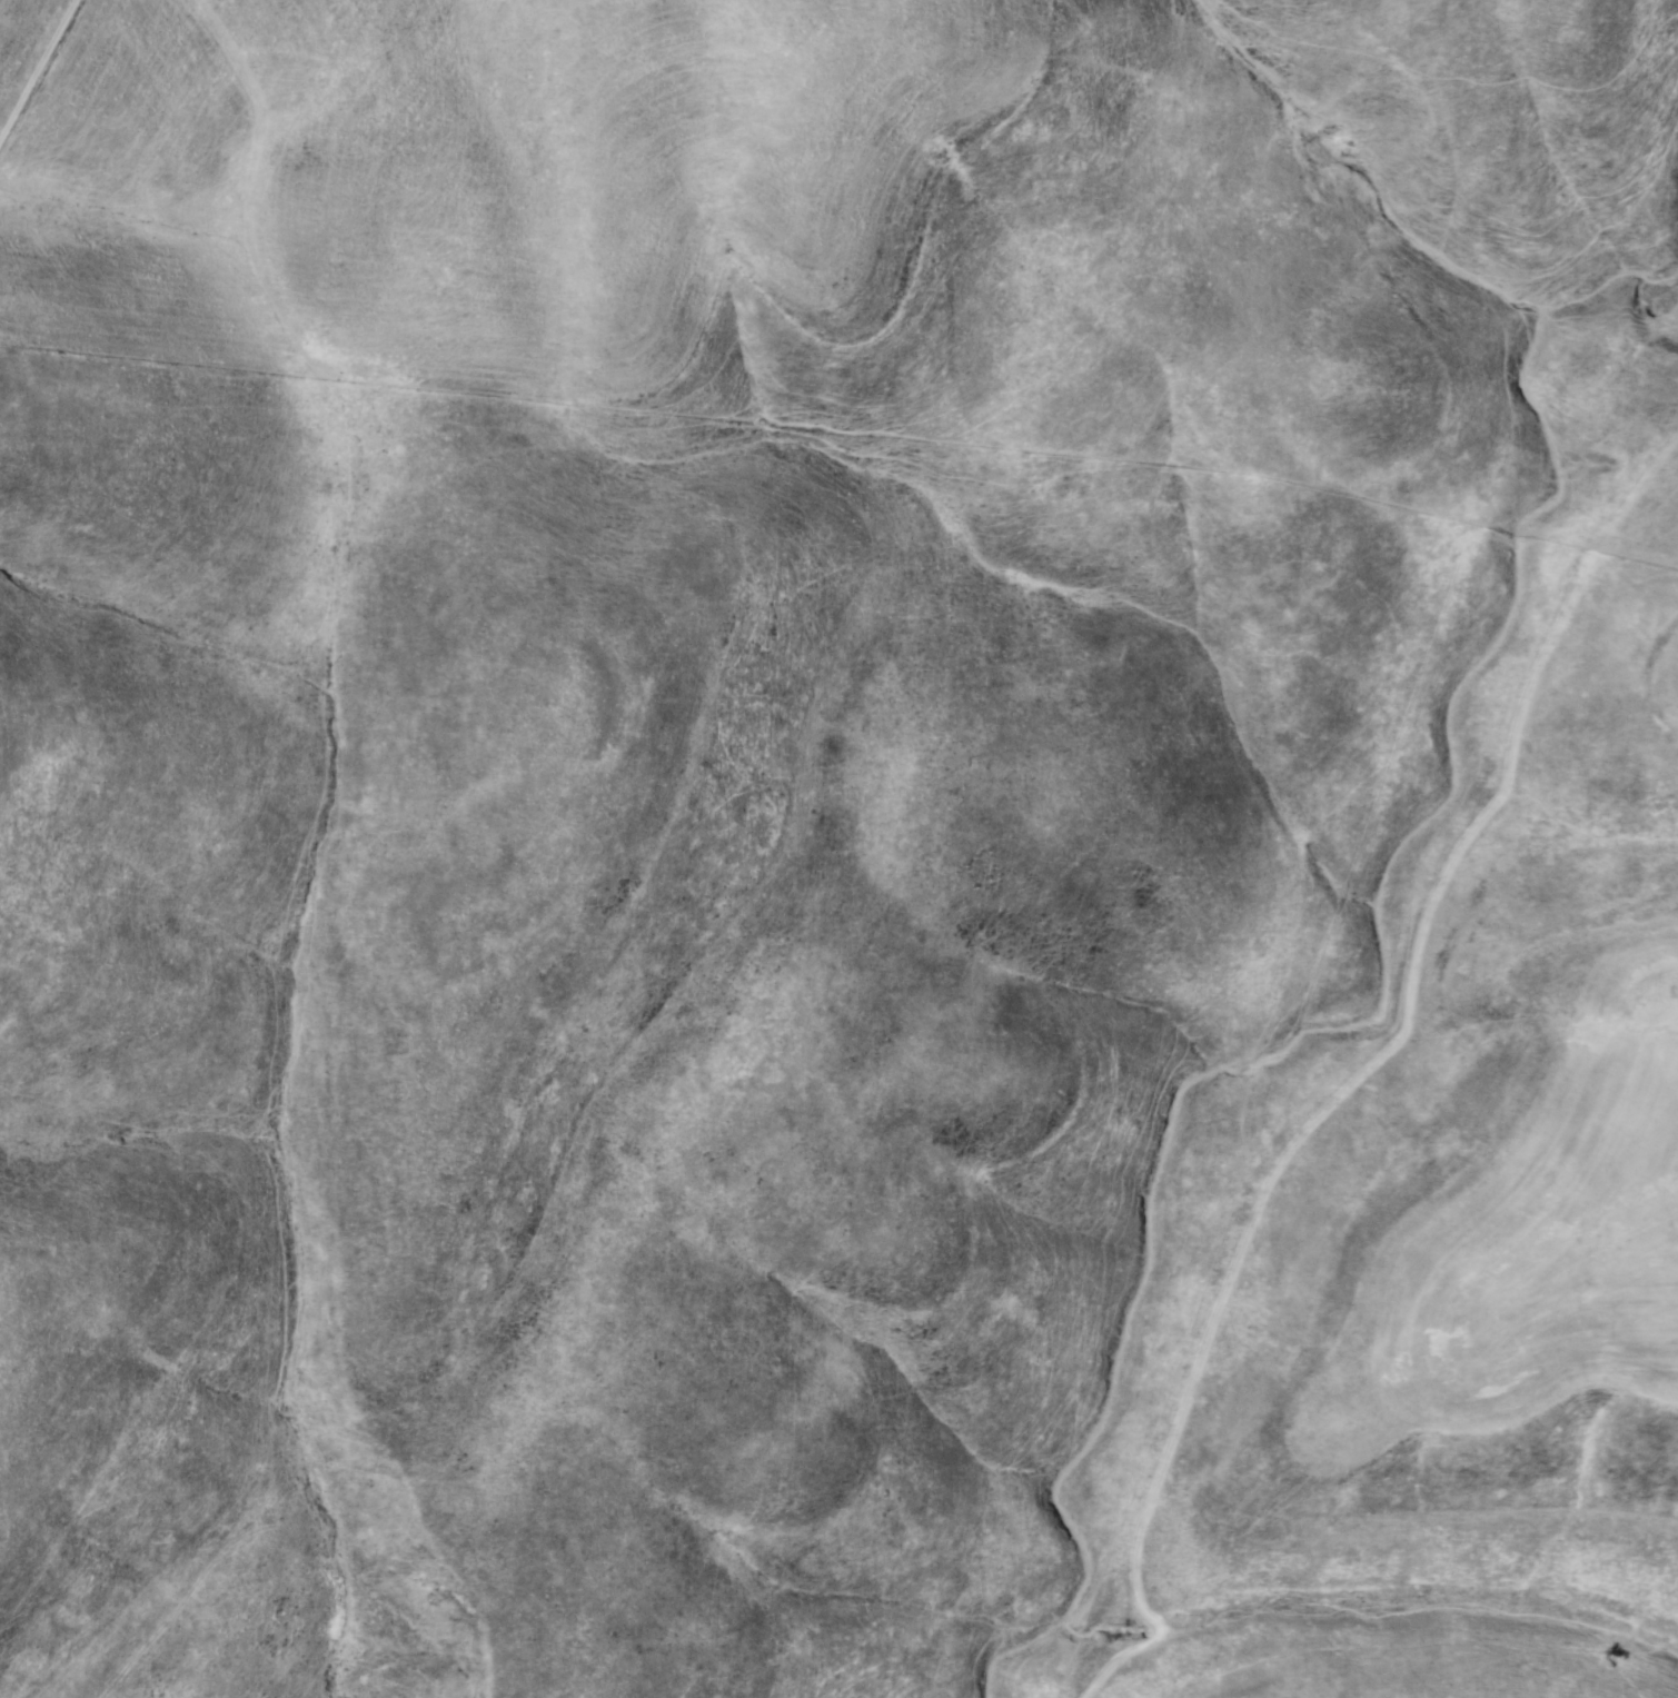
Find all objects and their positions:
road: (36, 66)

